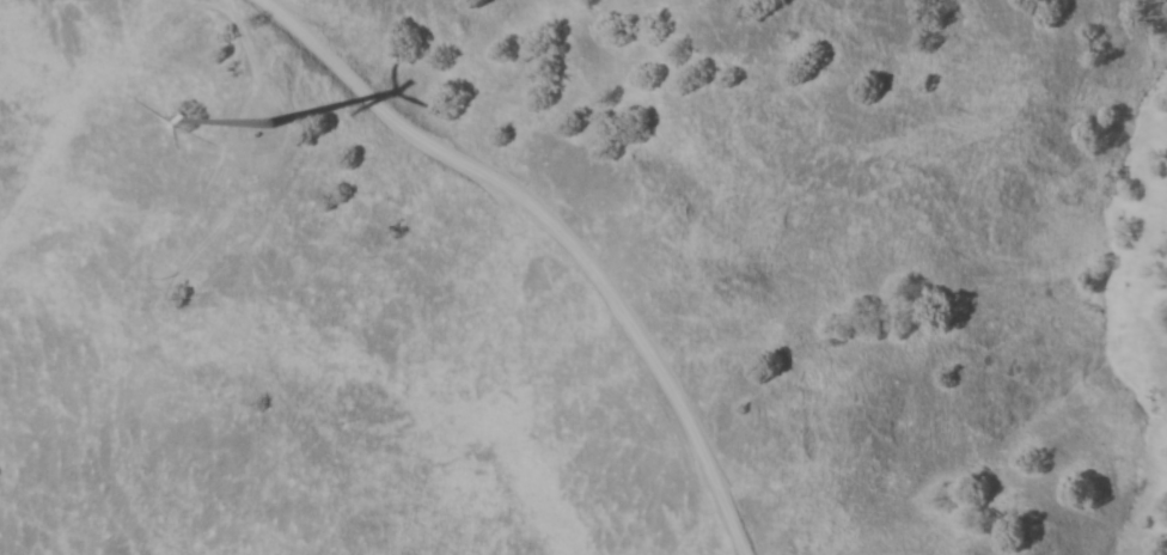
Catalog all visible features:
wind turbine: (271, 120)
road: (562, 230)

